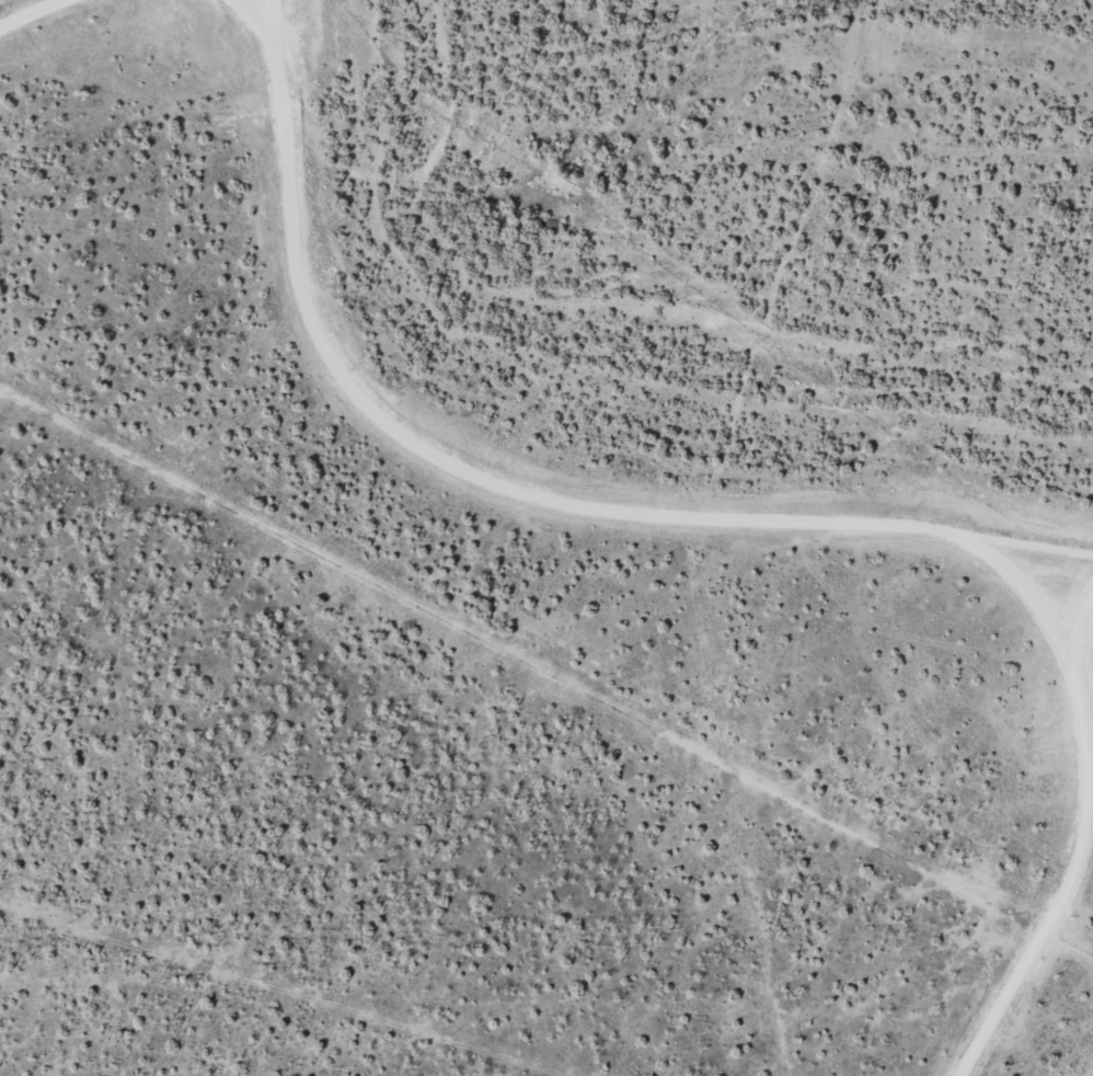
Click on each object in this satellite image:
road: (703, 533)

